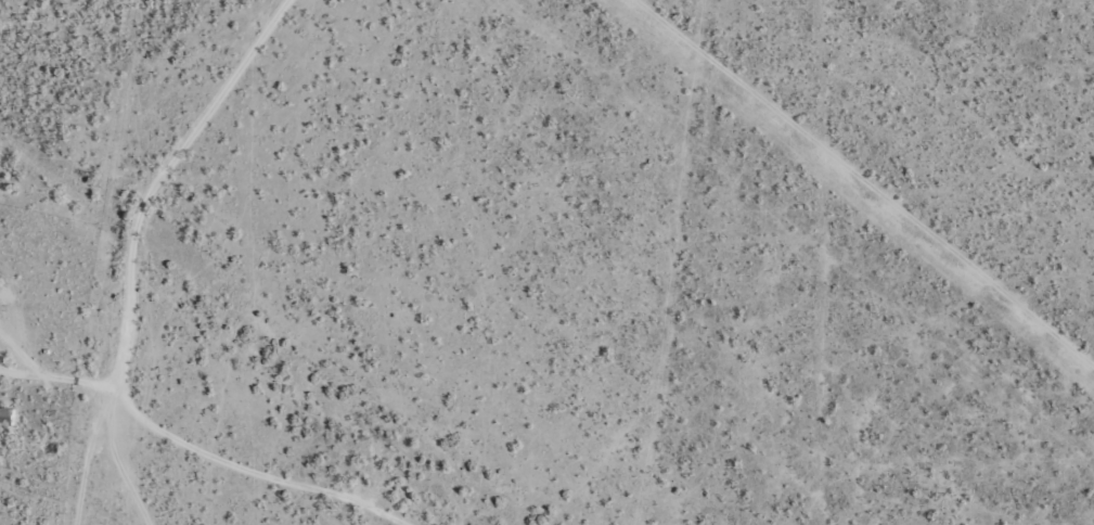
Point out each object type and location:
road: (153, 252)
road: (209, 438)

